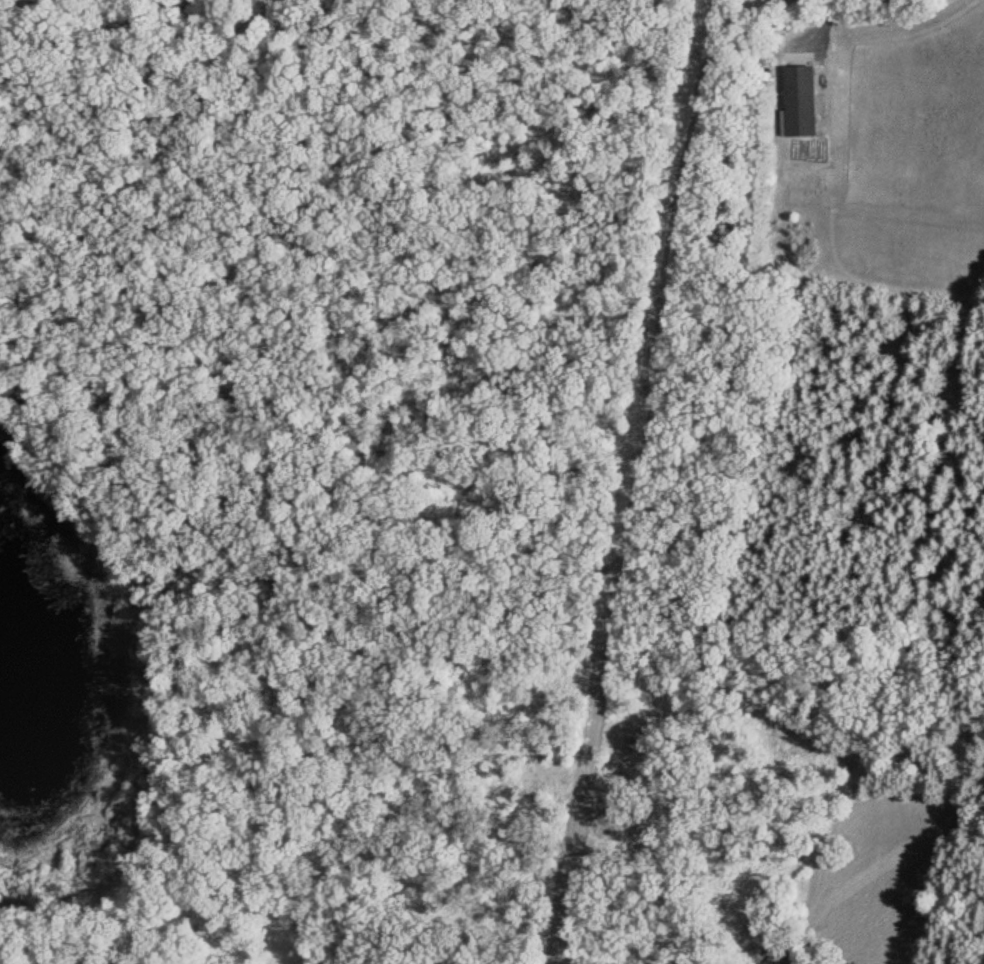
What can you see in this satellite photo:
building: (804, 98)

